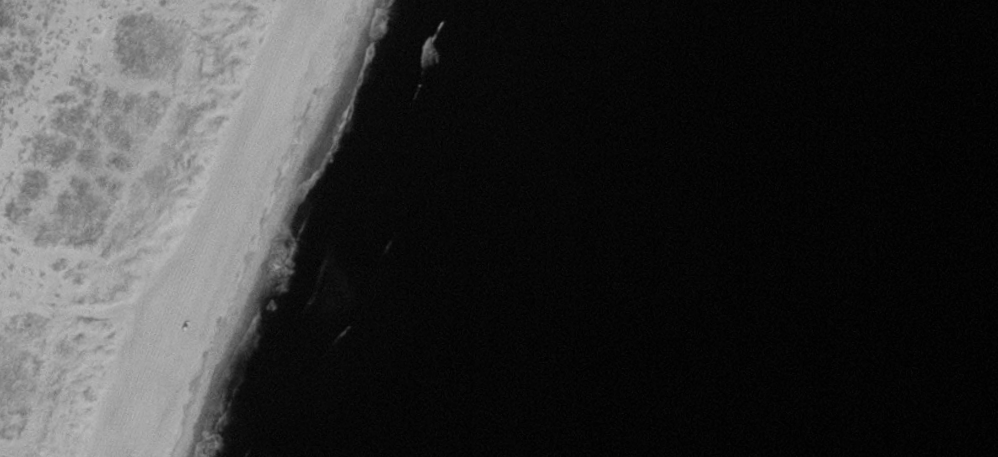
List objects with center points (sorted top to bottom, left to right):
park: (403, 3)

